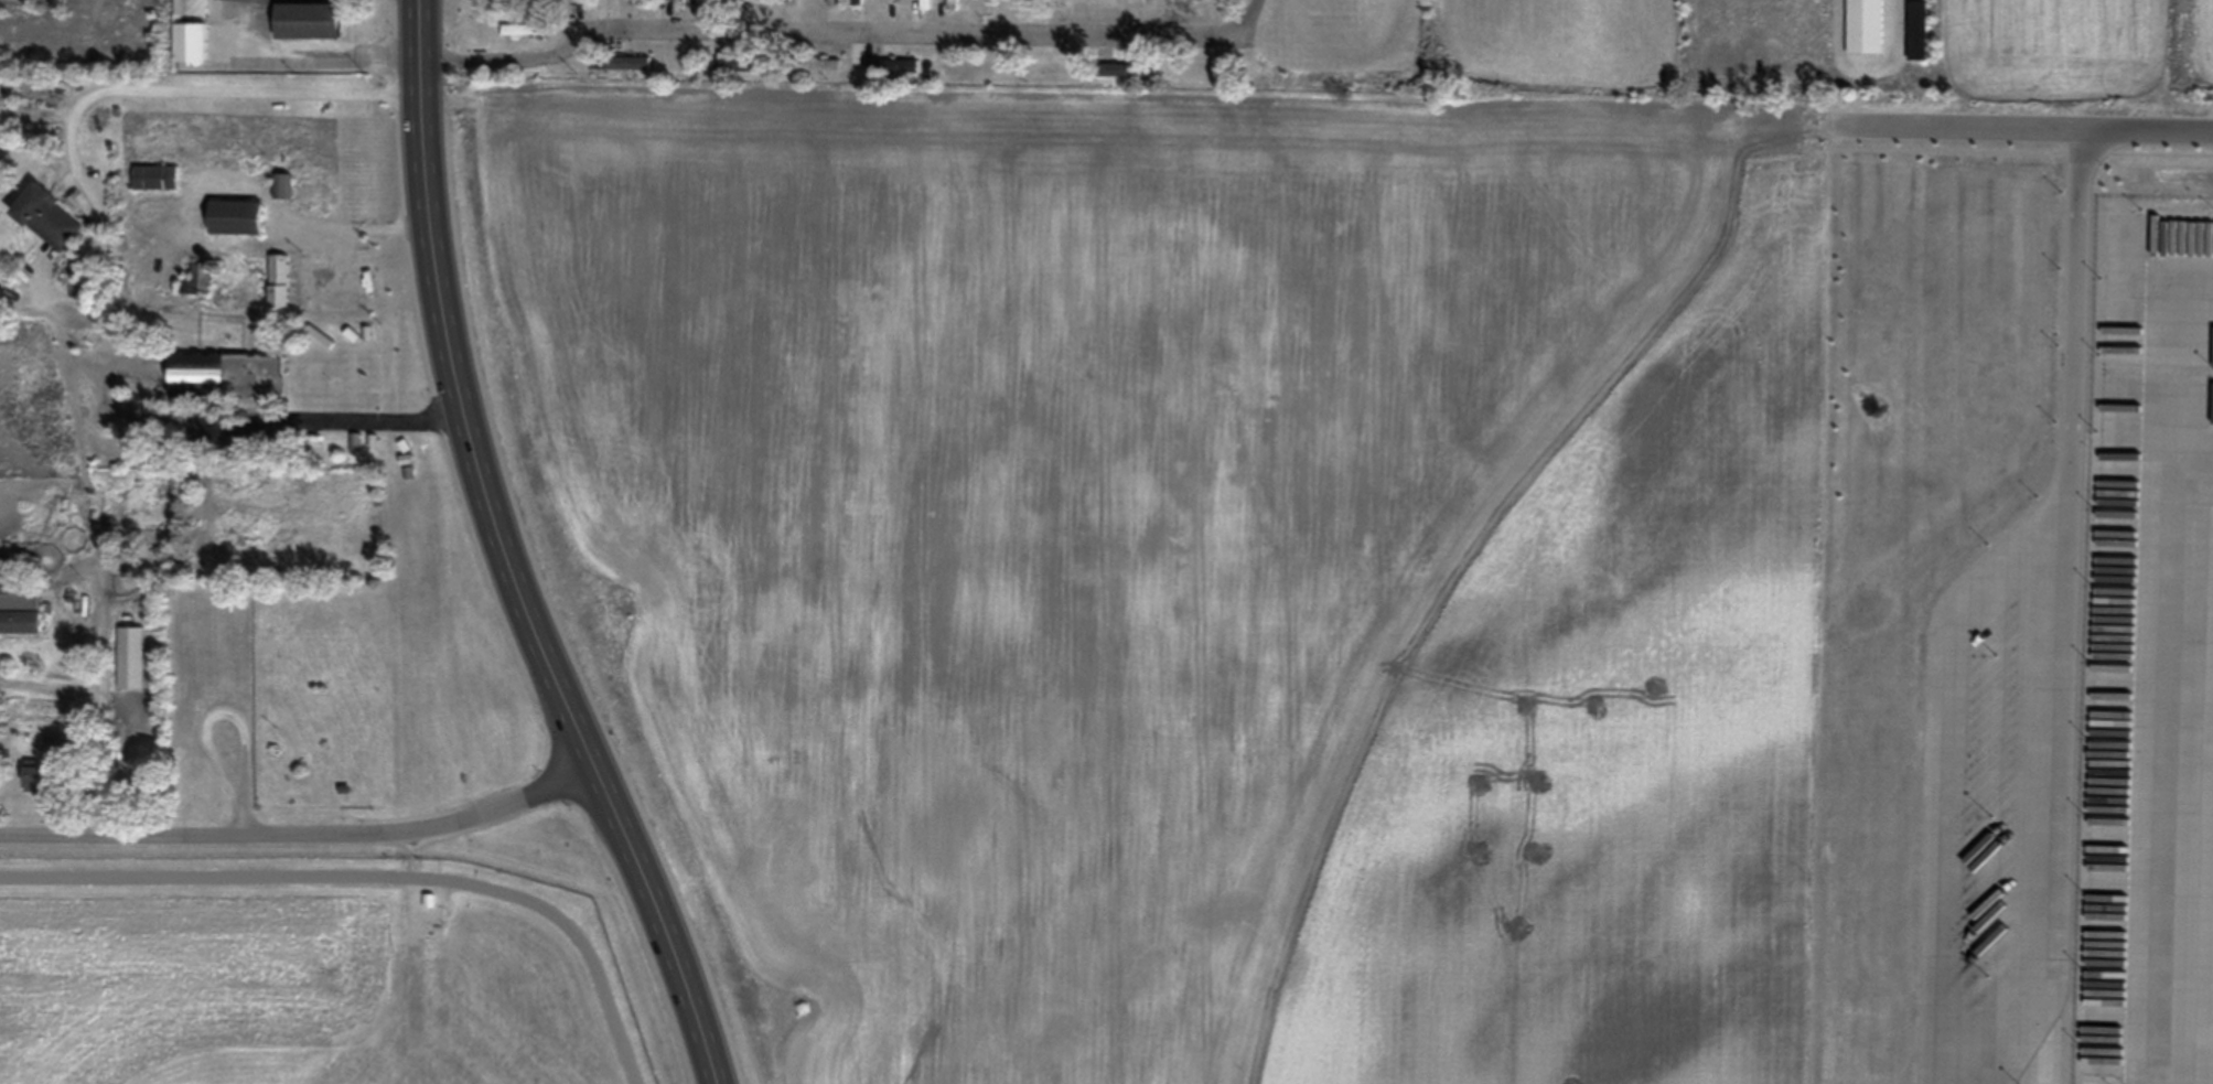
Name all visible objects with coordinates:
building: (590, 0)
building: (858, 1)
building: (834, 2)
building: (640, 3)
building: (717, 3)
building: (681, 4)
building: (926, 4)
building: (954, 4)
building: (191, 7)
building: (310, 21)
building: (1865, 26)
building: (528, 29)
road: (847, 29)
building: (1917, 31)
road: (316, 47)
road: (1865, 58)
building: (623, 63)
building: (742, 64)
building: (816, 64)
building: (893, 65)
building: (1126, 71)
road: (197, 89)
road: (2021, 125)
building: (158, 176)
building: (284, 185)
building: (239, 217)
building: (50, 218)
building: (198, 279)
building: (280, 281)
road: (2145, 291)
building: (228, 376)
road: (462, 396)
road: (341, 421)
crop: (1179, 561)
road: (1962, 584)
road: (1803, 591)
building: (20, 608)
building: (130, 658)
road: (216, 710)
park: (357, 711)
building: (56, 744)
building: (35, 775)
road: (243, 817)
road: (304, 837)
road: (656, 927)
airport: (333, 962)

